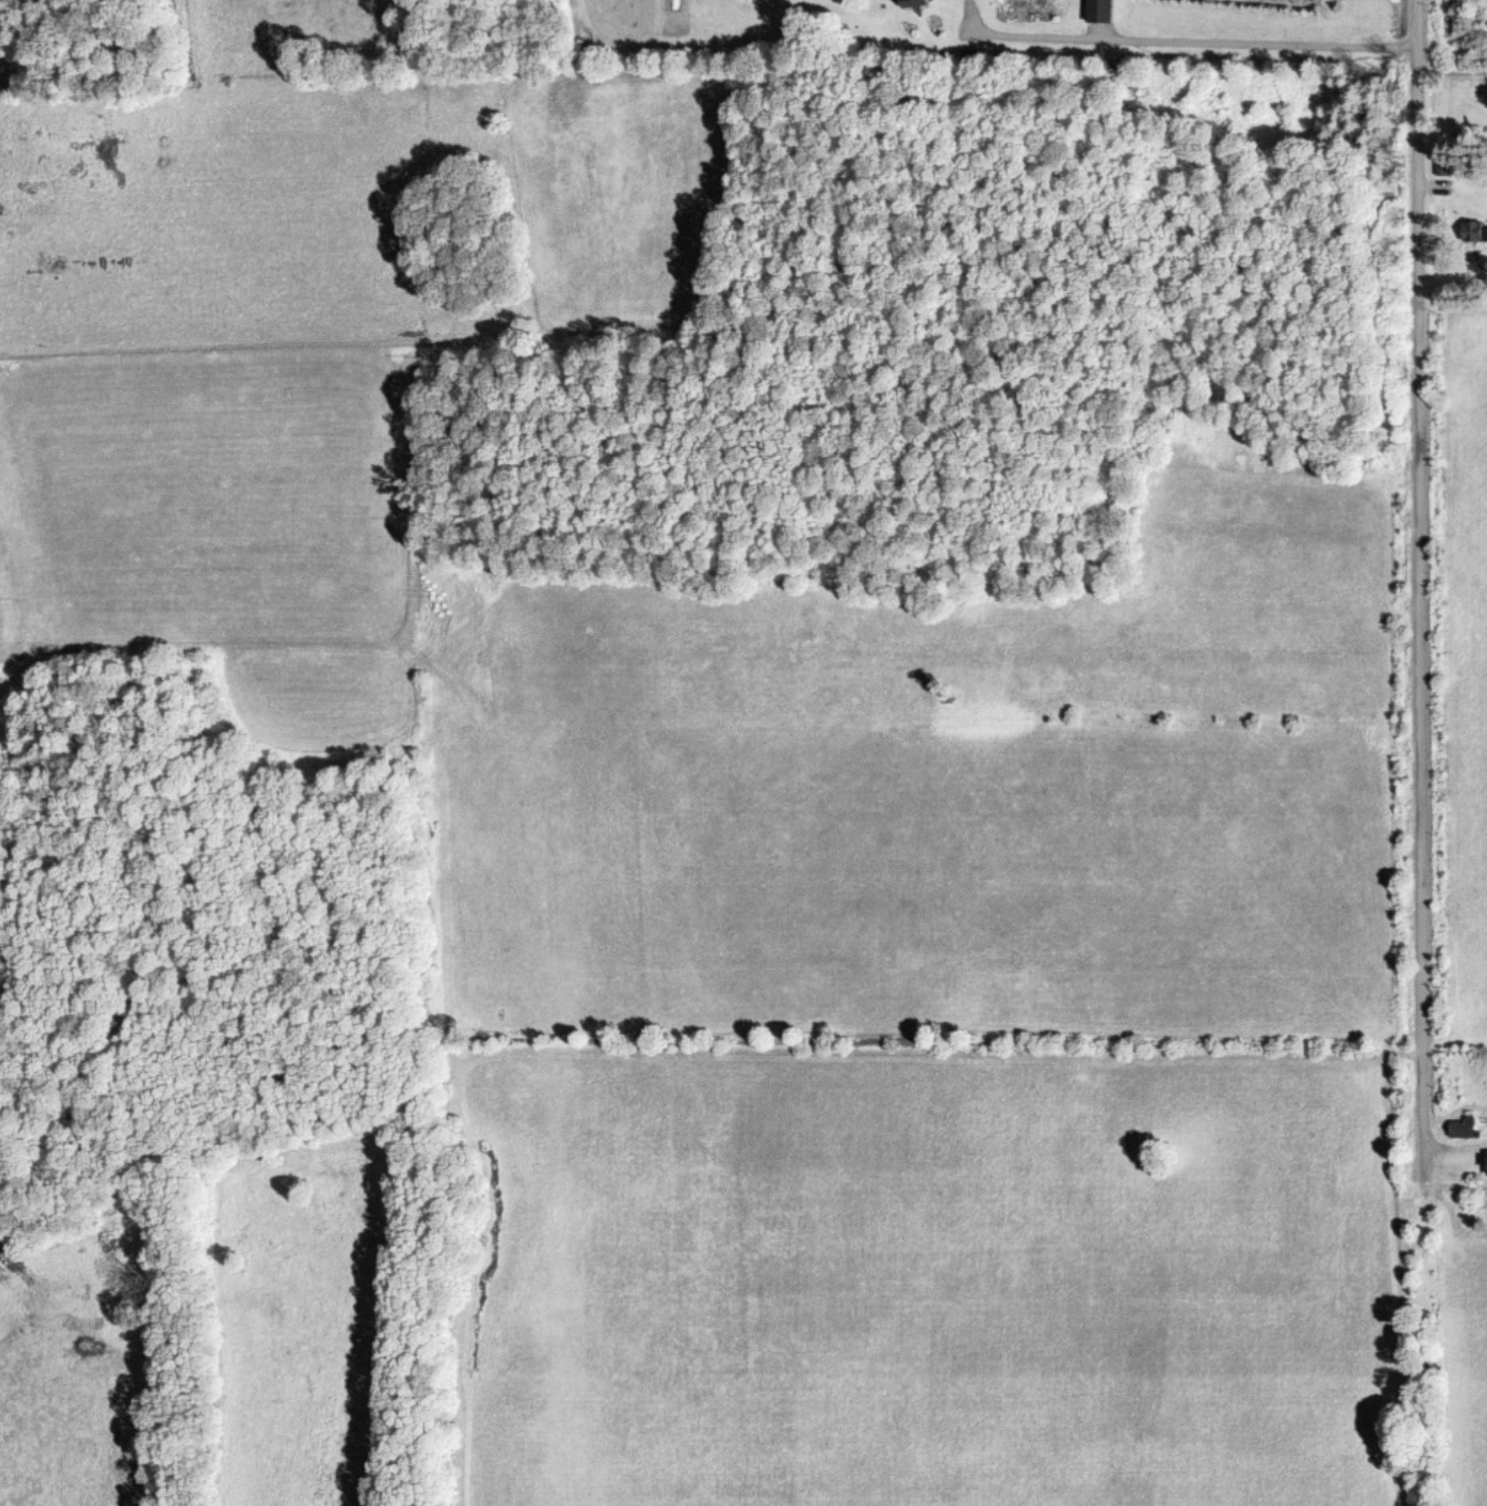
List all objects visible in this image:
building: (1106, 7)
building: (1477, 234)
road: (1425, 597)
building: (1458, 1132)
building: (1485, 1167)

